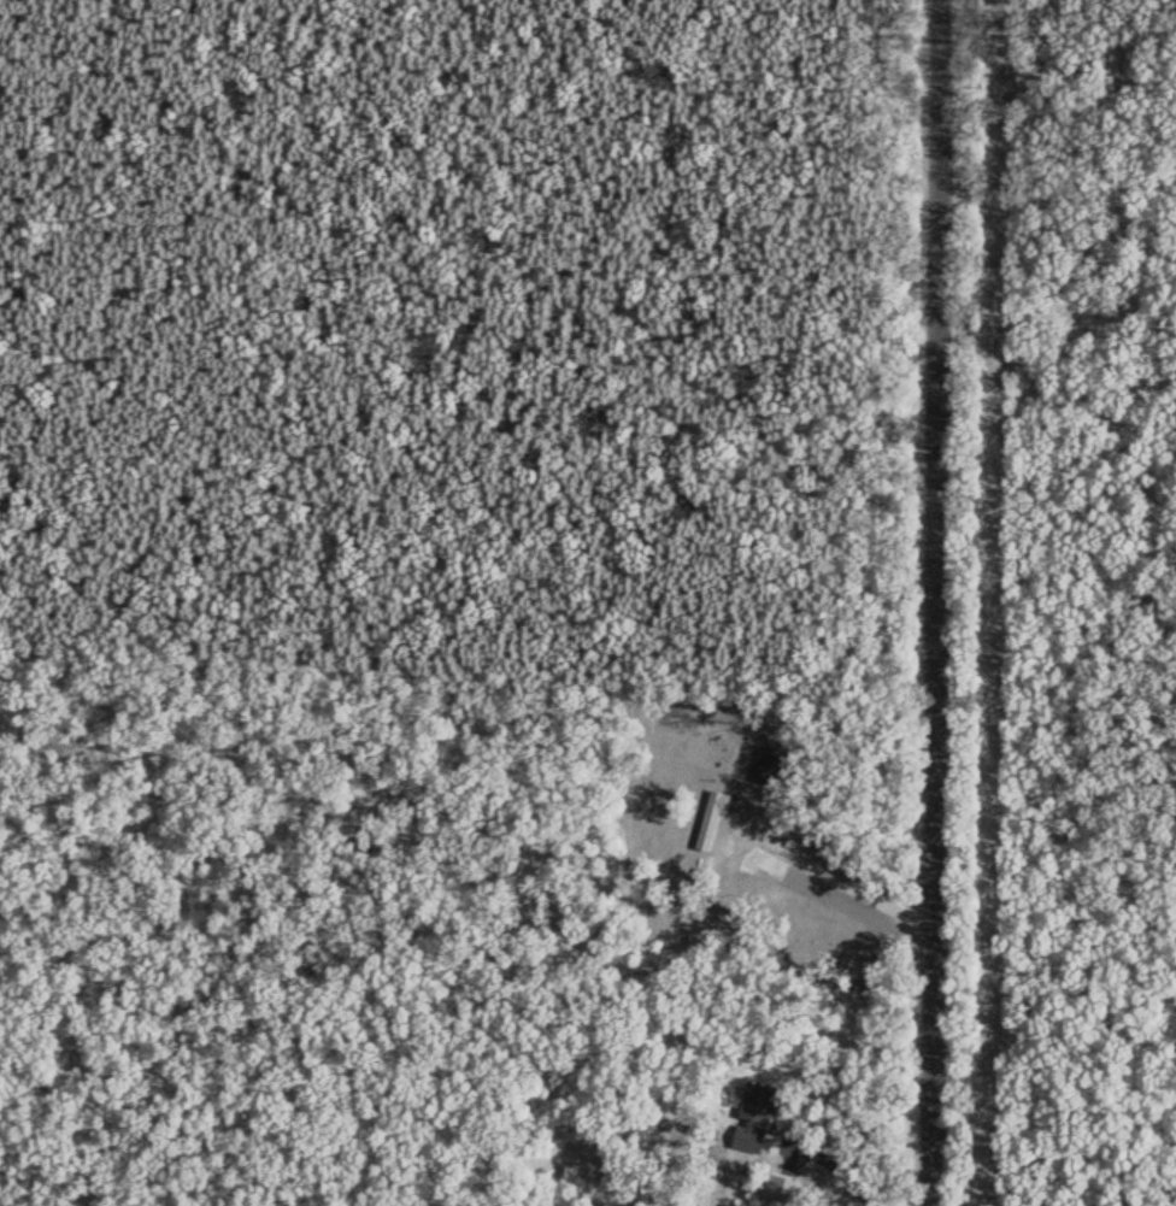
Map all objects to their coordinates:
road: (936, 602)
building: (708, 819)
building: (594, 1137)

